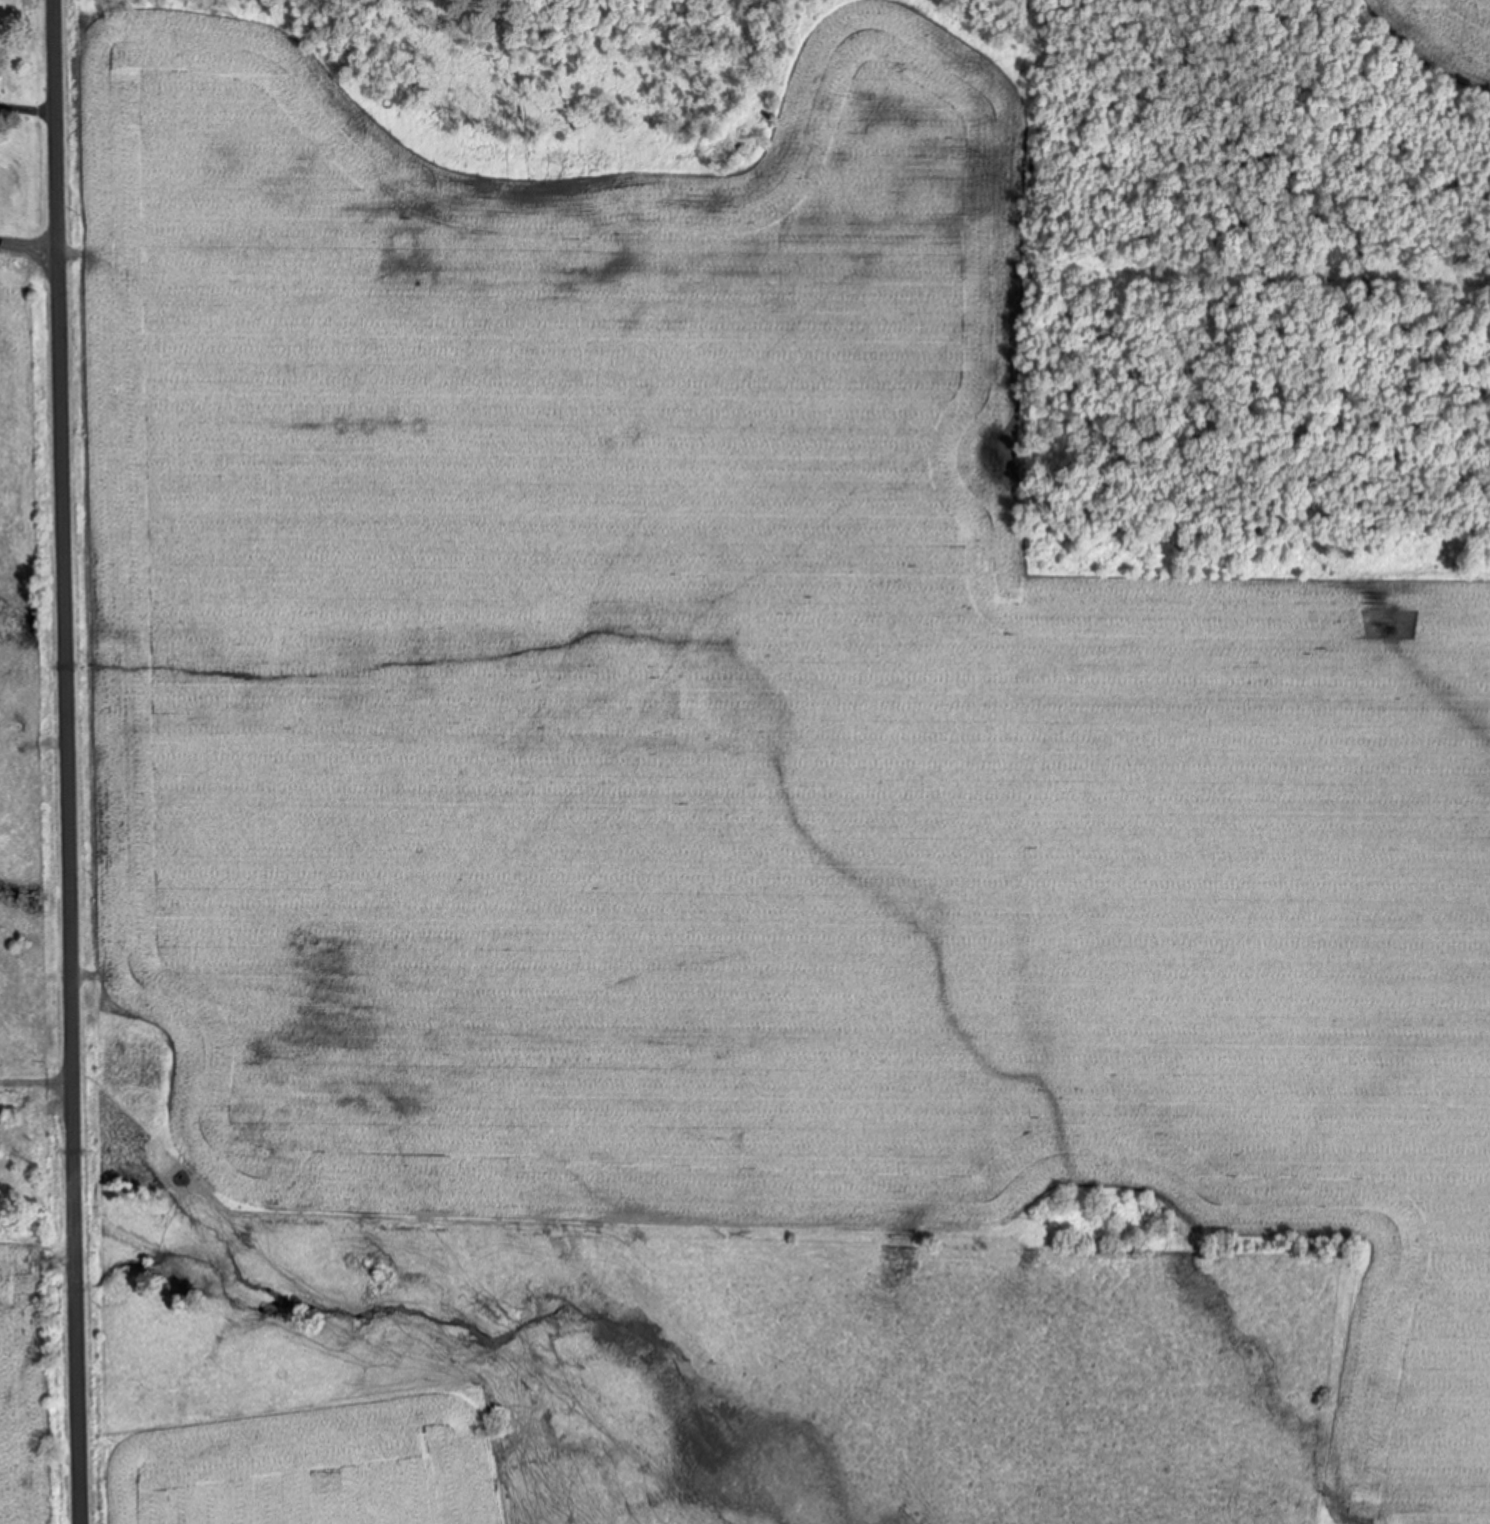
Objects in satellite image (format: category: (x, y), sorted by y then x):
road: (63, 762)
building: (7, 1149)

